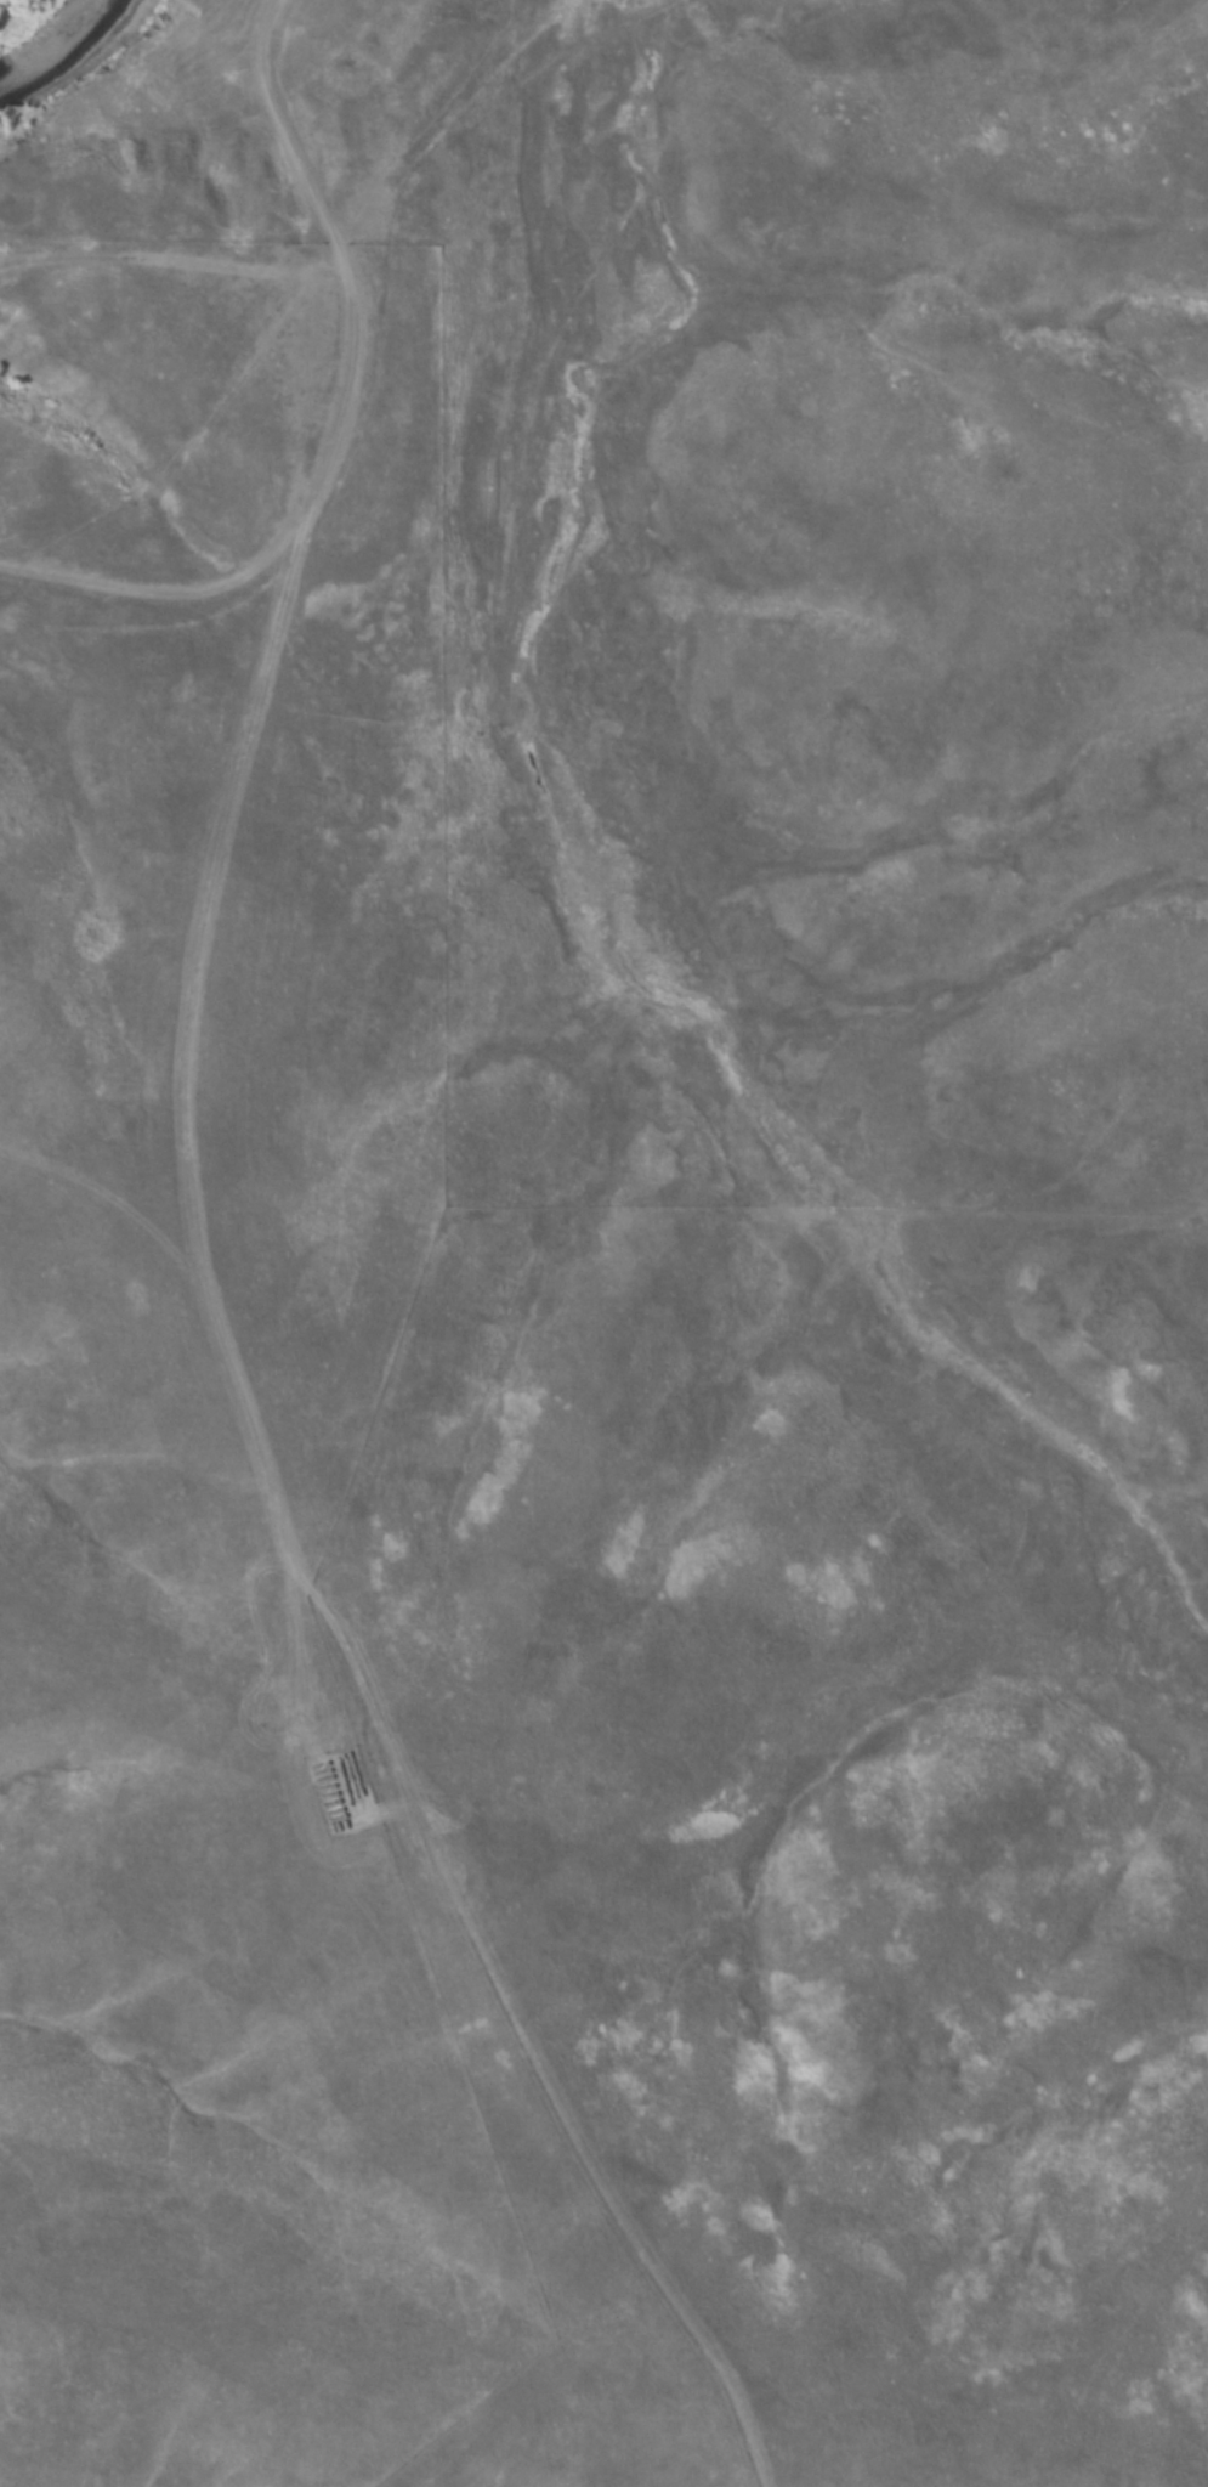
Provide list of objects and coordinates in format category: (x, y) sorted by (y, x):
river: (58, 49)

